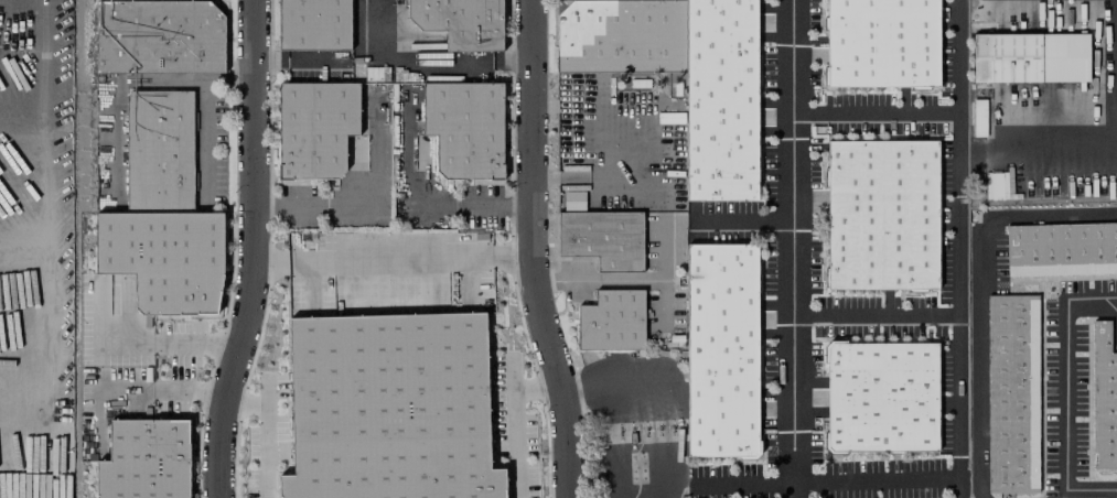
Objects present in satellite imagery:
building: (461, 22)
building: (314, 24)
building: (158, 36)
building: (621, 36)
building: (881, 43)
building: (1030, 57)
road: (423, 59)
building: (720, 100)
road: (874, 113)
building: (979, 118)
building: (314, 128)
building: (464, 129)
road: (1037, 150)
building: (159, 152)
building: (997, 184)
building: (572, 201)
road: (368, 205)
road: (415, 206)
building: (881, 214)
road: (44, 217)
road: (744, 223)
building: (603, 239)
road: (792, 249)
road: (957, 249)
building: (1061, 249)
road: (253, 250)
road: (530, 250)
building: (164, 258)
road: (391, 258)
road: (979, 295)
road: (876, 316)
building: (612, 321)
road: (138, 344)
building: (721, 350)
road: (98, 368)
road: (535, 386)
road: (130, 391)
building: (1011, 393)
road: (1066, 394)
building: (880, 397)
building: (1104, 399)
road: (645, 400)
road: (245, 404)
building: (389, 408)
road: (514, 424)
road: (266, 436)
building: (146, 461)
road: (876, 479)

